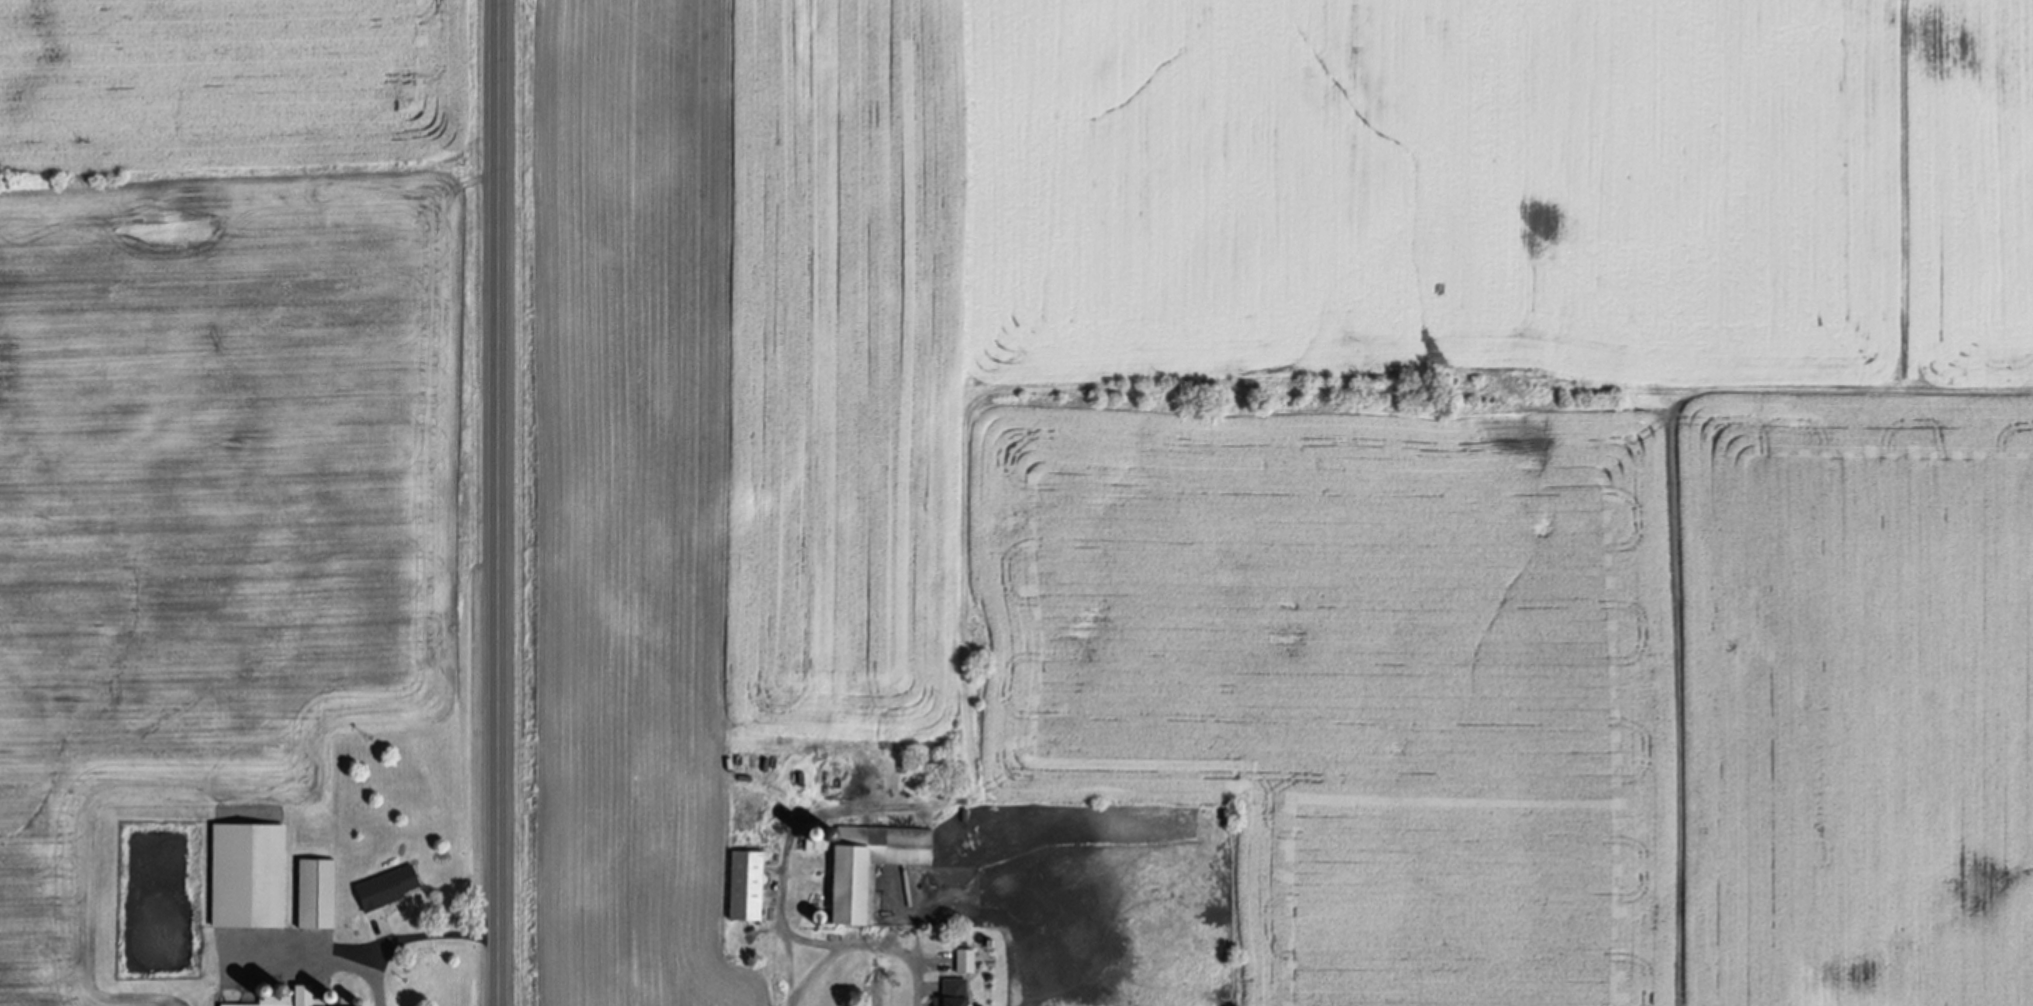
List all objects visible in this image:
crop: (223, 413)
road: (501, 503)
building: (935, 766)
building: (828, 830)
building: (812, 833)
building: (869, 871)
building: (248, 880)
building: (746, 890)
building: (387, 891)
building: (317, 897)
building: (818, 920)
road: (410, 934)
road: (864, 943)
building: (990, 948)
building: (965, 964)
building: (953, 993)
building: (294, 999)
crop: (151, 1005)

